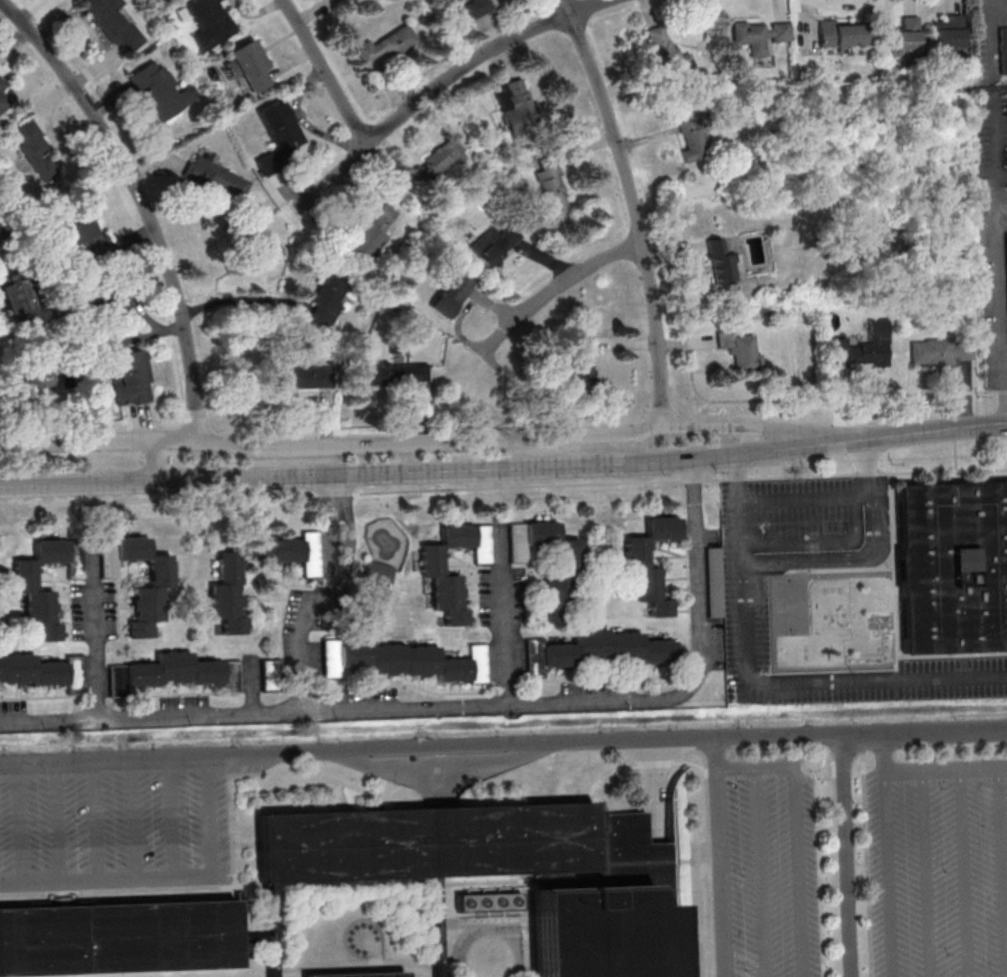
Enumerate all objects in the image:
building: (453, 0)
building: (342, 1)
building: (478, 7)
building: (111, 21)
building: (209, 22)
building: (949, 33)
road: (991, 33)
building: (842, 34)
building: (759, 35)
building: (905, 39)
building: (385, 46)
building: (1002, 51)
building: (669, 56)
building: (249, 67)
road: (324, 72)
road: (992, 81)
road: (443, 82)
building: (1, 84)
building: (158, 92)
building: (3, 101)
building: (515, 104)
building: (281, 128)
building: (692, 140)
road: (996, 140)
building: (35, 150)
building: (437, 164)
building: (216, 178)
building: (552, 186)
road: (141, 203)
road: (634, 208)
building: (373, 231)
building: (86, 235)
building: (495, 244)
building: (1006, 250)
building: (720, 262)
road: (553, 290)
building: (452, 294)
building: (14, 299)
building: (327, 301)
road: (997, 305)
building: (117, 310)
building: (864, 348)
building: (741, 350)
building: (941, 351)
building: (578, 360)
road: (1004, 368)
building: (398, 373)
building: (302, 377)
building: (129, 378)
building: (39, 381)
road: (982, 391)
road: (986, 427)
road: (771, 431)
road: (100, 443)
road: (430, 445)
road: (150, 460)
road: (483, 468)
road: (942, 471)
road: (868, 474)
road: (782, 477)
road: (692, 480)
road: (508, 487)
road: (86, 502)
building: (636, 553)
road: (810, 560)
building: (953, 566)
building: (559, 571)
building: (230, 574)
road: (697, 575)
building: (441, 576)
building: (714, 581)
building: (375, 582)
building: (25, 585)
road: (324, 592)
building: (148, 603)
road: (504, 615)
road: (97, 630)
building: (598, 651)
building: (416, 661)
building: (42, 671)
building: (178, 672)
building: (270, 675)
road: (816, 682)
road: (599, 703)
road: (406, 711)
road: (203, 717)
road: (50, 724)
road: (503, 744)
road: (715, 753)
road: (886, 757)
road: (776, 765)
road: (736, 767)
road: (207, 814)
parking lot: (114, 818)
road: (169, 818)
road: (132, 820)
road: (94, 821)
road: (57, 822)
road: (18, 823)
road: (846, 856)
parking lot: (937, 866)
parking lot: (763, 867)
building: (507, 870)
road: (761, 871)
road: (799, 871)
road: (720, 872)
road: (889, 879)
road: (104, 880)
building: (118, 937)
building: (361, 974)

